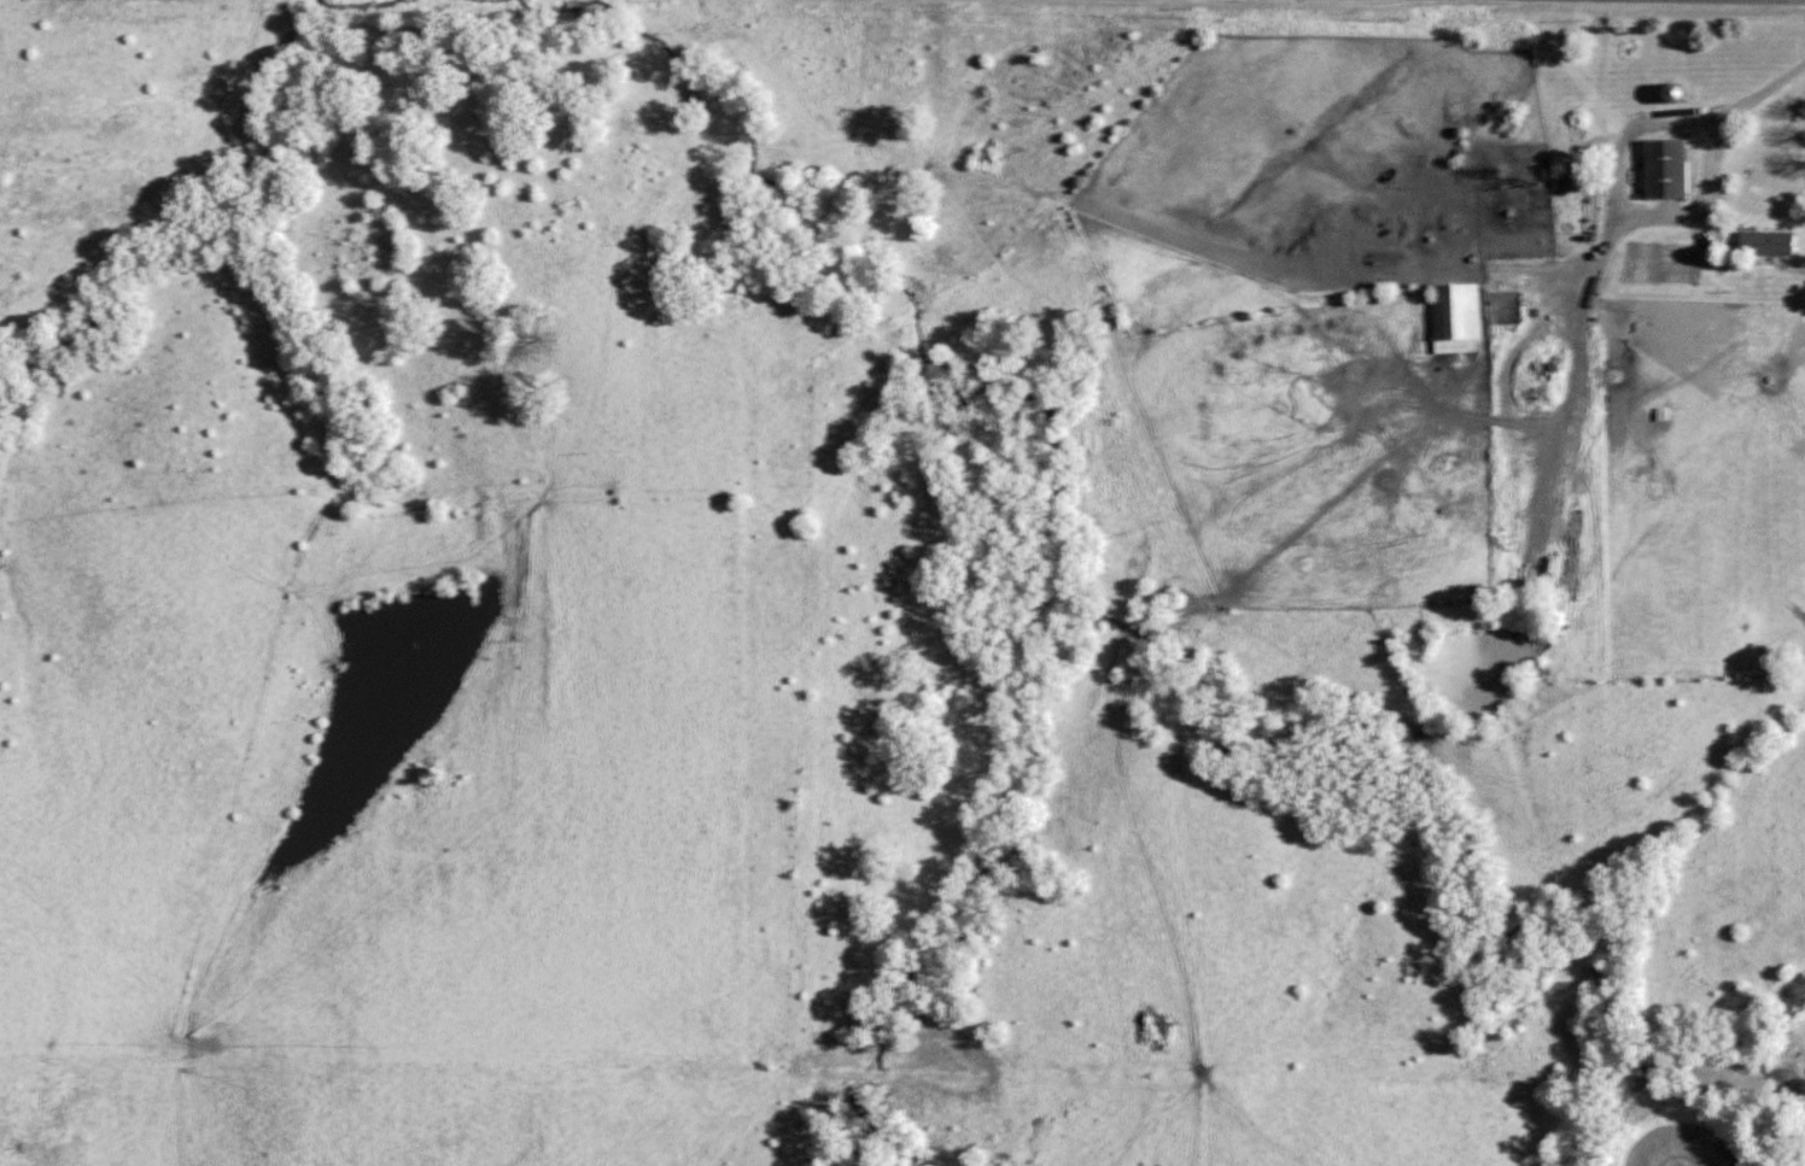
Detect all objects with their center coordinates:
building: (1663, 166)
building: (1764, 242)
building: (1455, 317)

